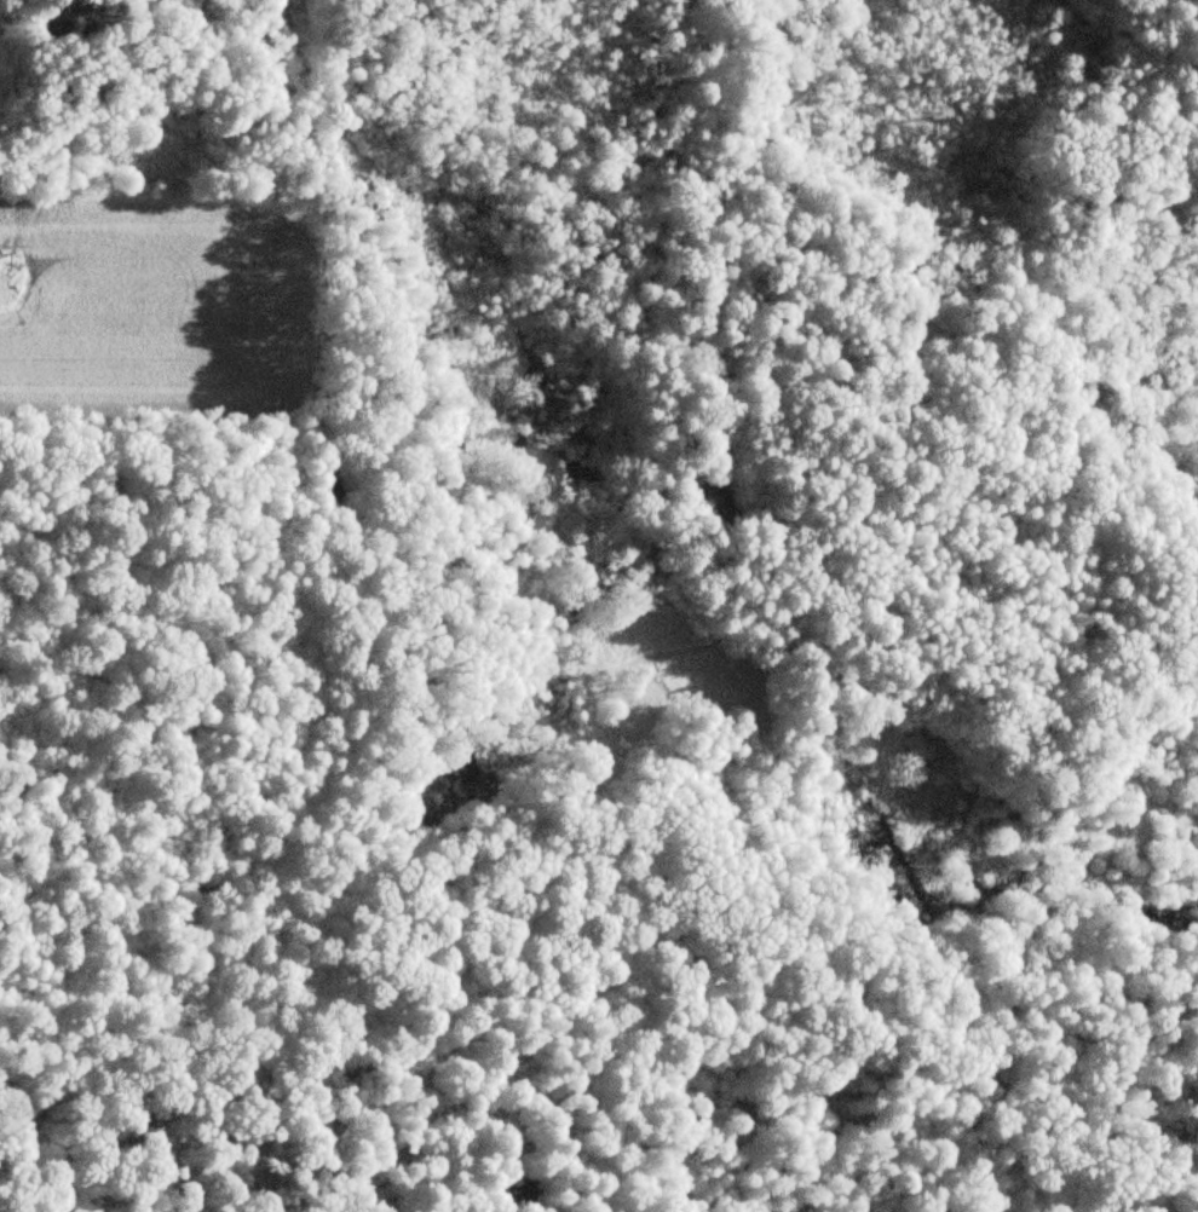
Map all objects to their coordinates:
crop: (149, 321)

